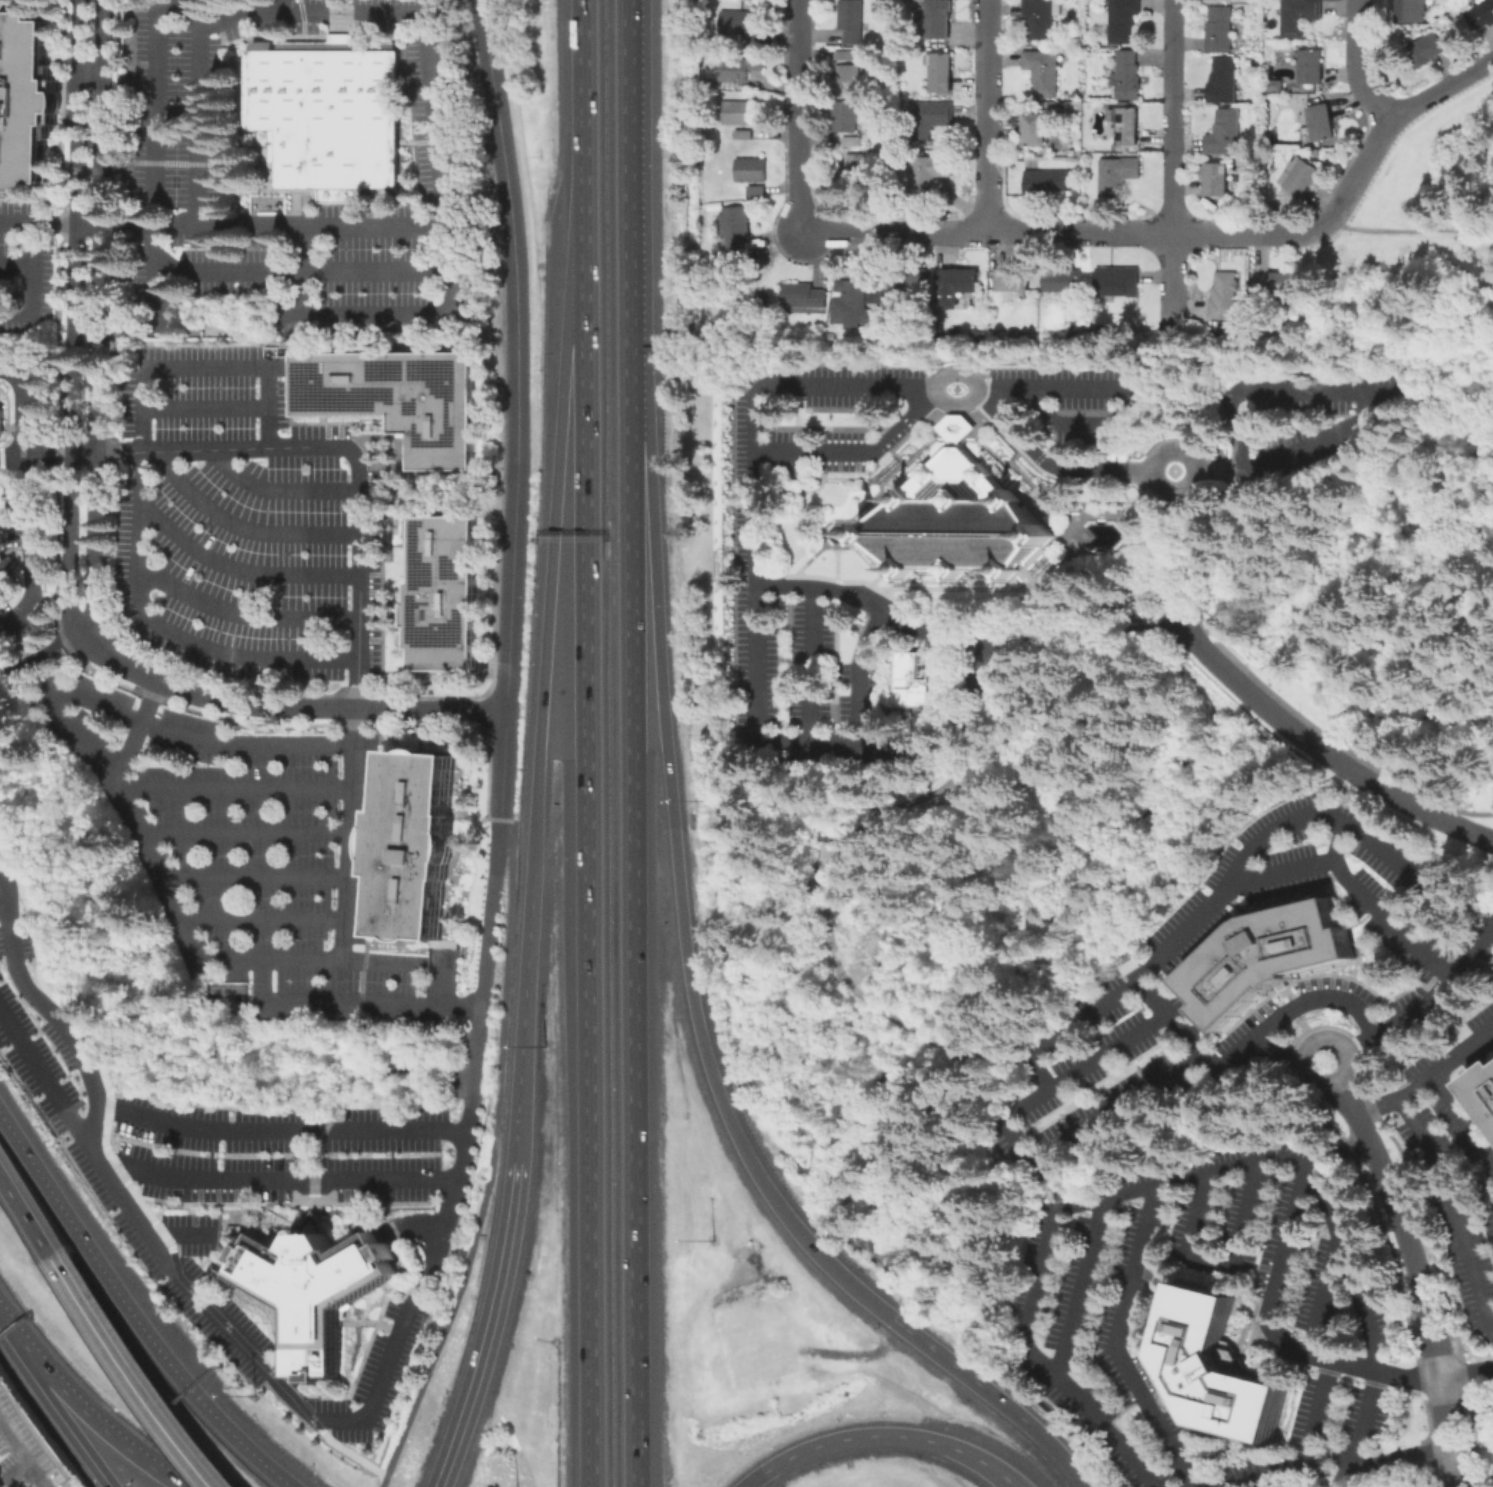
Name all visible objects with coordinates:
road: (280, 4)
building: (1416, 11)
building: (1483, 14)
building: (1301, 16)
building: (1042, 17)
building: (942, 18)
building: (1123, 19)
building: (852, 20)
building: (742, 25)
road: (103, 28)
building: (1221, 29)
building: (1429, 50)
building: (845, 55)
building: (1313, 65)
road: (1356, 66)
building: (739, 67)
building: (943, 72)
building: (1045, 72)
road: (89, 74)
building: (1129, 76)
building: (849, 80)
building: (1225, 80)
building: (709, 84)
building: (1276, 85)
road: (1441, 88)
building: (899, 93)
building: (27, 103)
road: (435, 110)
building: (330, 113)
building: (741, 113)
road: (795, 114)
road: (985, 115)
road: (1174, 116)
building: (847, 117)
building: (932, 118)
building: (1322, 123)
building: (1128, 126)
building: (1038, 129)
road: (583, 131)
building: (1225, 132)
building: (745, 134)
building: (853, 141)
building: (1317, 152)
road: (628, 160)
road: (87, 169)
building: (859, 169)
road: (1358, 169)
building: (752, 170)
building: (929, 171)
building: (1118, 174)
building: (1302, 177)
building: (1219, 180)
building: (1047, 182)
building: (898, 183)
building: (839, 187)
road: (1460, 188)
building: (757, 190)
building: (736, 227)
road: (988, 231)
road: (1410, 231)
road: (1252, 232)
road: (512, 239)
park: (1416, 242)
road: (17, 264)
road: (34, 269)
road: (165, 273)
building: (1015, 280)
building: (1065, 282)
building: (1118, 282)
building: (1276, 283)
road: (1174, 285)
building: (959, 286)
building: (907, 287)
building: (876, 293)
building: (803, 295)
building: (1228, 297)
building: (853, 303)
road: (72, 314)
road: (354, 315)
building: (978, 333)
building: (1015, 333)
building: (1226, 333)
building: (1064, 335)
road: (95, 340)
road: (935, 388)
flagpole: (956, 388)
road: (983, 389)
road: (1123, 389)
road: (1361, 390)
road: (1197, 395)
building: (396, 397)
parking lot: (1081, 400)
road: (267, 405)
road: (205, 407)
road: (20, 414)
building: (0, 420)
parking lot: (1303, 421)
building: (944, 428)
road: (955, 436)
road: (46, 446)
road: (854, 450)
road: (77, 451)
road: (1156, 456)
building: (1115, 457)
road: (49, 461)
road: (1062, 467)
road: (1208, 470)
road: (1220, 471)
road: (280, 489)
road: (808, 489)
road: (1152, 497)
road: (1126, 498)
building: (954, 521)
parking lot: (746, 523)
road: (243, 527)
road: (138, 532)
fountain: (835, 533)
road: (28, 539)
road: (840, 545)
road: (1174, 560)
road: (239, 569)
building: (6, 572)
road: (358, 573)
road: (795, 573)
road: (878, 576)
road: (551, 582)
road: (1030, 583)
building: (441, 593)
road: (510, 595)
road: (758, 596)
road: (874, 608)
road: (243, 614)
road: (1085, 631)
road: (44, 653)
road: (49, 661)
road: (812, 663)
building: (913, 679)
road: (1260, 684)
road: (968, 699)
road: (282, 706)
road: (139, 724)
road: (1326, 752)
road: (504, 763)
road: (119, 777)
road: (238, 787)
road: (1358, 828)
road: (247, 831)
building: (413, 844)
road: (674, 853)
road: (590, 874)
road: (256, 875)
road: (2, 899)
road: (635, 904)
road: (1374, 906)
road: (264, 916)
road: (816, 939)
road: (1159, 958)
building: (1273, 958)
building: (1130, 967)
road: (38, 979)
road: (442, 980)
park: (225, 996)
road: (1431, 998)
road: (350, 999)
road: (524, 1041)
road: (1248, 1045)
road: (1306, 1046)
road: (1276, 1052)
road: (1428, 1075)
road: (89, 1078)
road: (45, 1082)
building: (1483, 1090)
road: (107, 1106)
road: (1465, 1120)
road: (278, 1130)
road: (104, 1133)
road: (1018, 1141)
road: (461, 1153)
road: (490, 1160)
road: (114, 1164)
road: (311, 1168)
road: (279, 1178)
parking lot: (218, 1179)
road: (1166, 1181)
road: (139, 1201)
road: (326, 1202)
road: (220, 1203)
road: (1455, 1204)
road: (187, 1209)
road: (26, 1214)
road: (312, 1219)
road: (328, 1220)
road: (192, 1223)
road: (161, 1233)
road: (182, 1234)
road: (171, 1248)
road: (1223, 1259)
road: (175, 1267)
road: (1418, 1269)
road: (1080, 1285)
building: (312, 1288)
road: (1322, 1295)
road: (130, 1313)
road: (349, 1321)
road: (383, 1326)
road: (1275, 1327)
road: (13, 1332)
road: (489, 1335)
road: (1116, 1344)
road: (366, 1346)
road: (244, 1347)
building: (1224, 1370)
road: (132, 1372)
road: (994, 1396)
road: (1317, 1409)
road: (62, 1422)
road: (315, 1423)
road: (102, 1424)
road: (882, 1437)
road: (16, 1439)
road: (351, 1455)
road: (1400, 1459)
road: (30, 1464)
road: (1275, 1468)
road: (1346, 1470)
road: (1456, 1480)
road: (1463, 1480)

